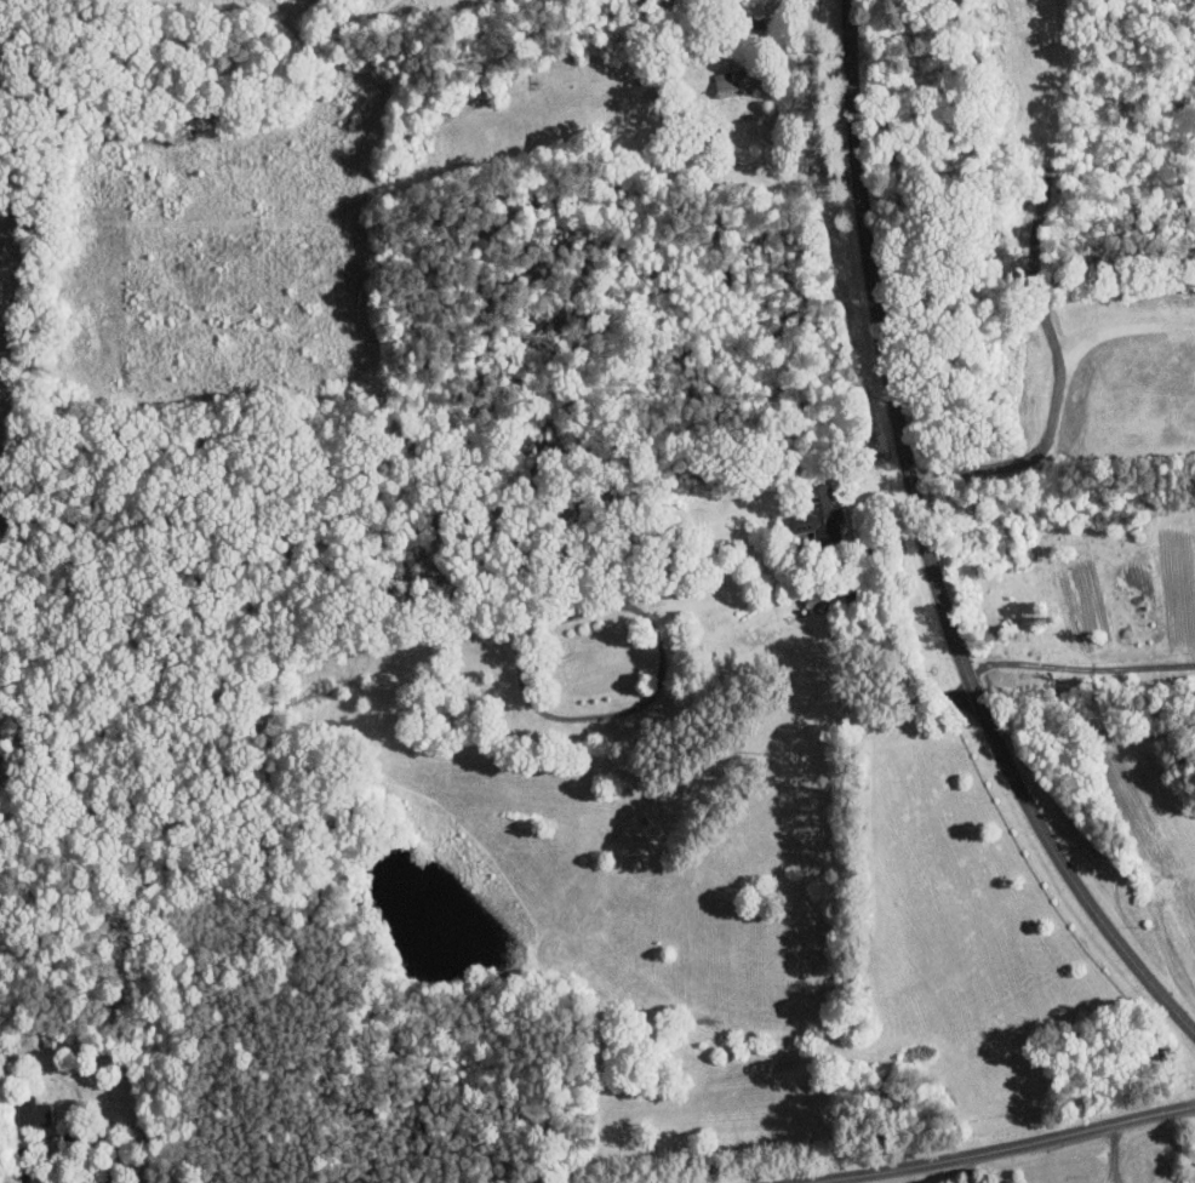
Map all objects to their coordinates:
building: (732, 80)
building: (818, 515)
road: (928, 550)
road: (1080, 667)
road: (1092, 732)
building: (33, 1109)
road: (1024, 1148)

